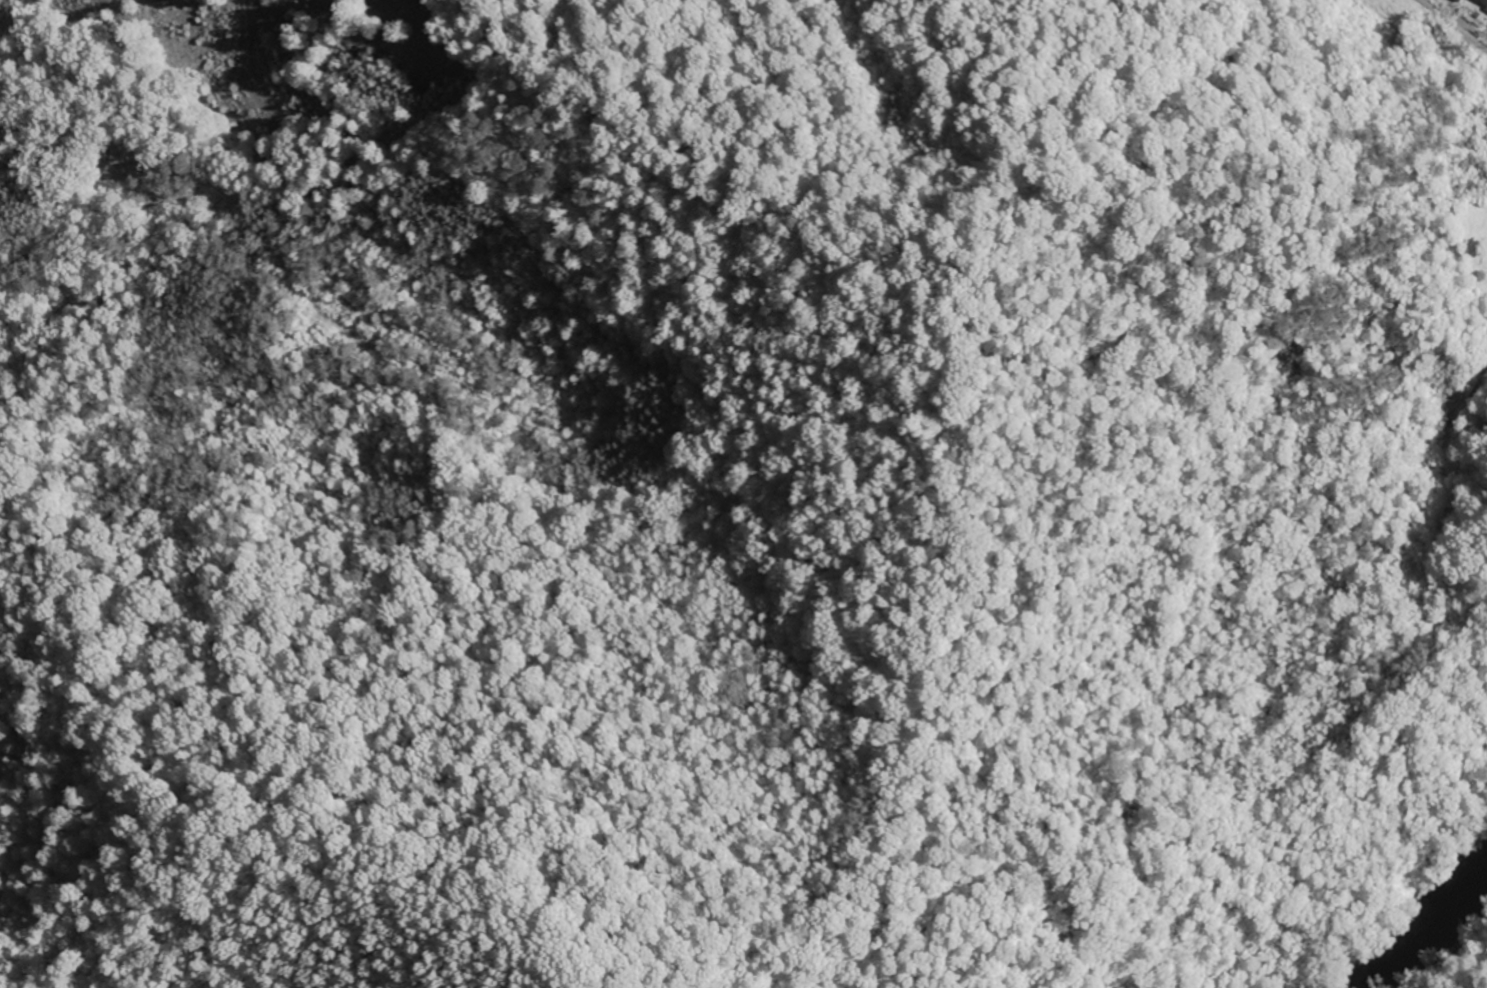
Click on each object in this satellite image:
building: (1481, 2)
building: (1486, 11)
road: (1433, 41)
river: (1425, 925)

